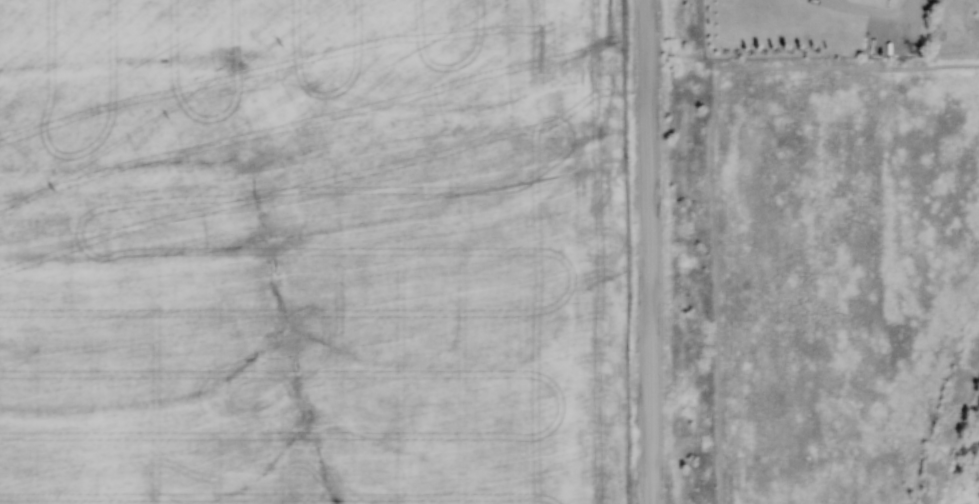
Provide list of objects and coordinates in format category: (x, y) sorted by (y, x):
road: (912, 28)
road: (651, 252)

